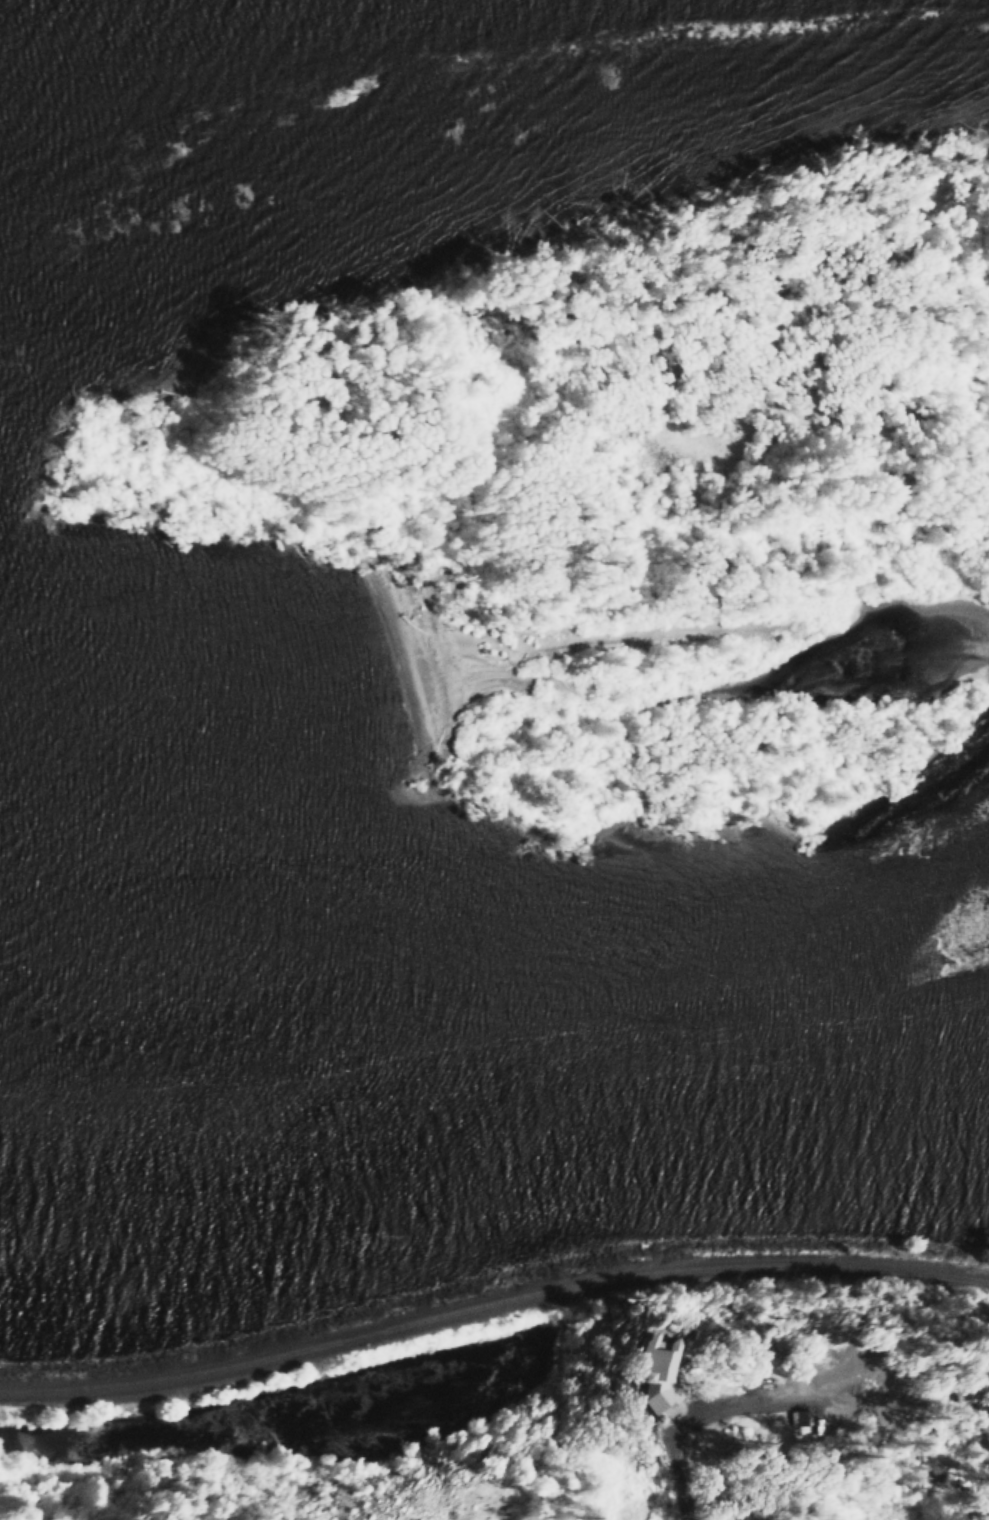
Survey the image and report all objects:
railway: (491, 1303)
road: (854, 1397)
park: (957, 1513)

